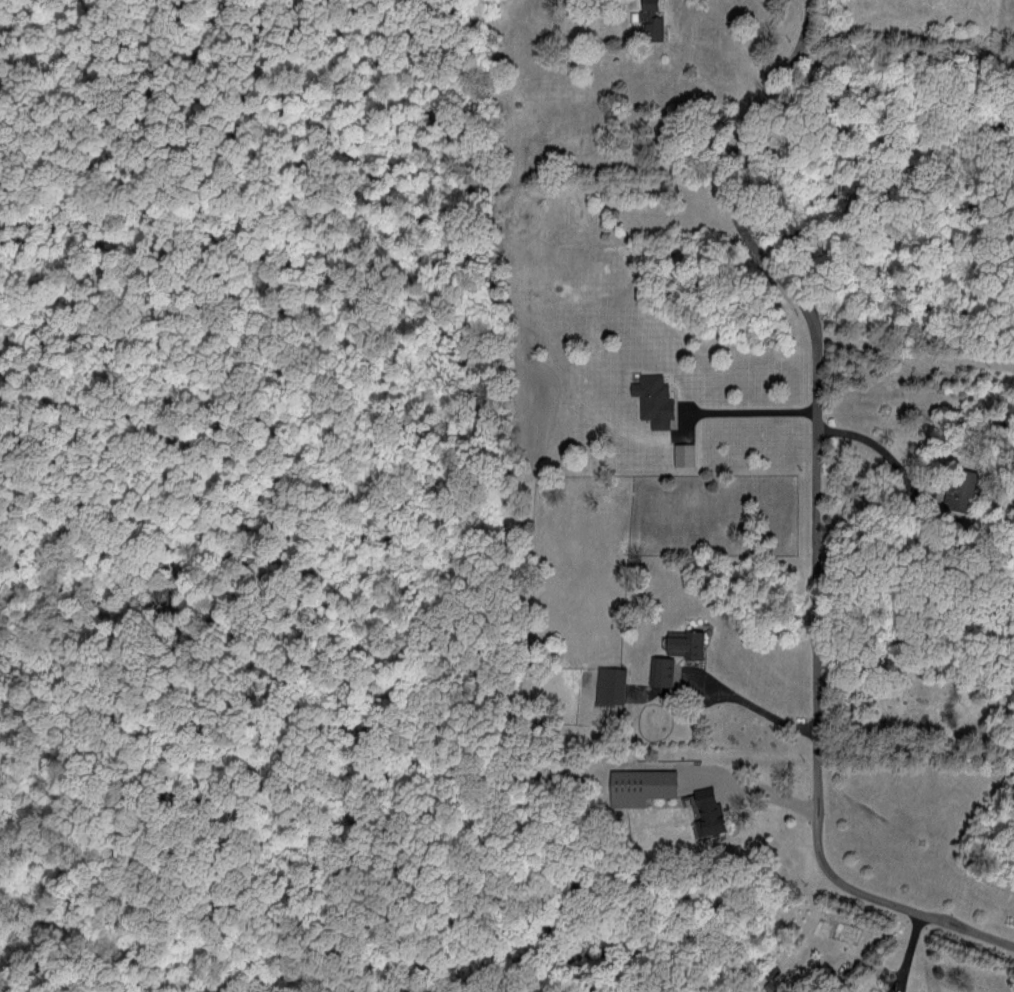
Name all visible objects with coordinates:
building: (646, 18)
road: (903, 54)
road: (904, 234)
building: (648, 399)
road: (749, 409)
road: (881, 448)
building: (678, 454)
road: (815, 515)
building: (678, 641)
building: (657, 669)
building: (605, 683)
road: (751, 703)
building: (635, 785)
road: (768, 789)

